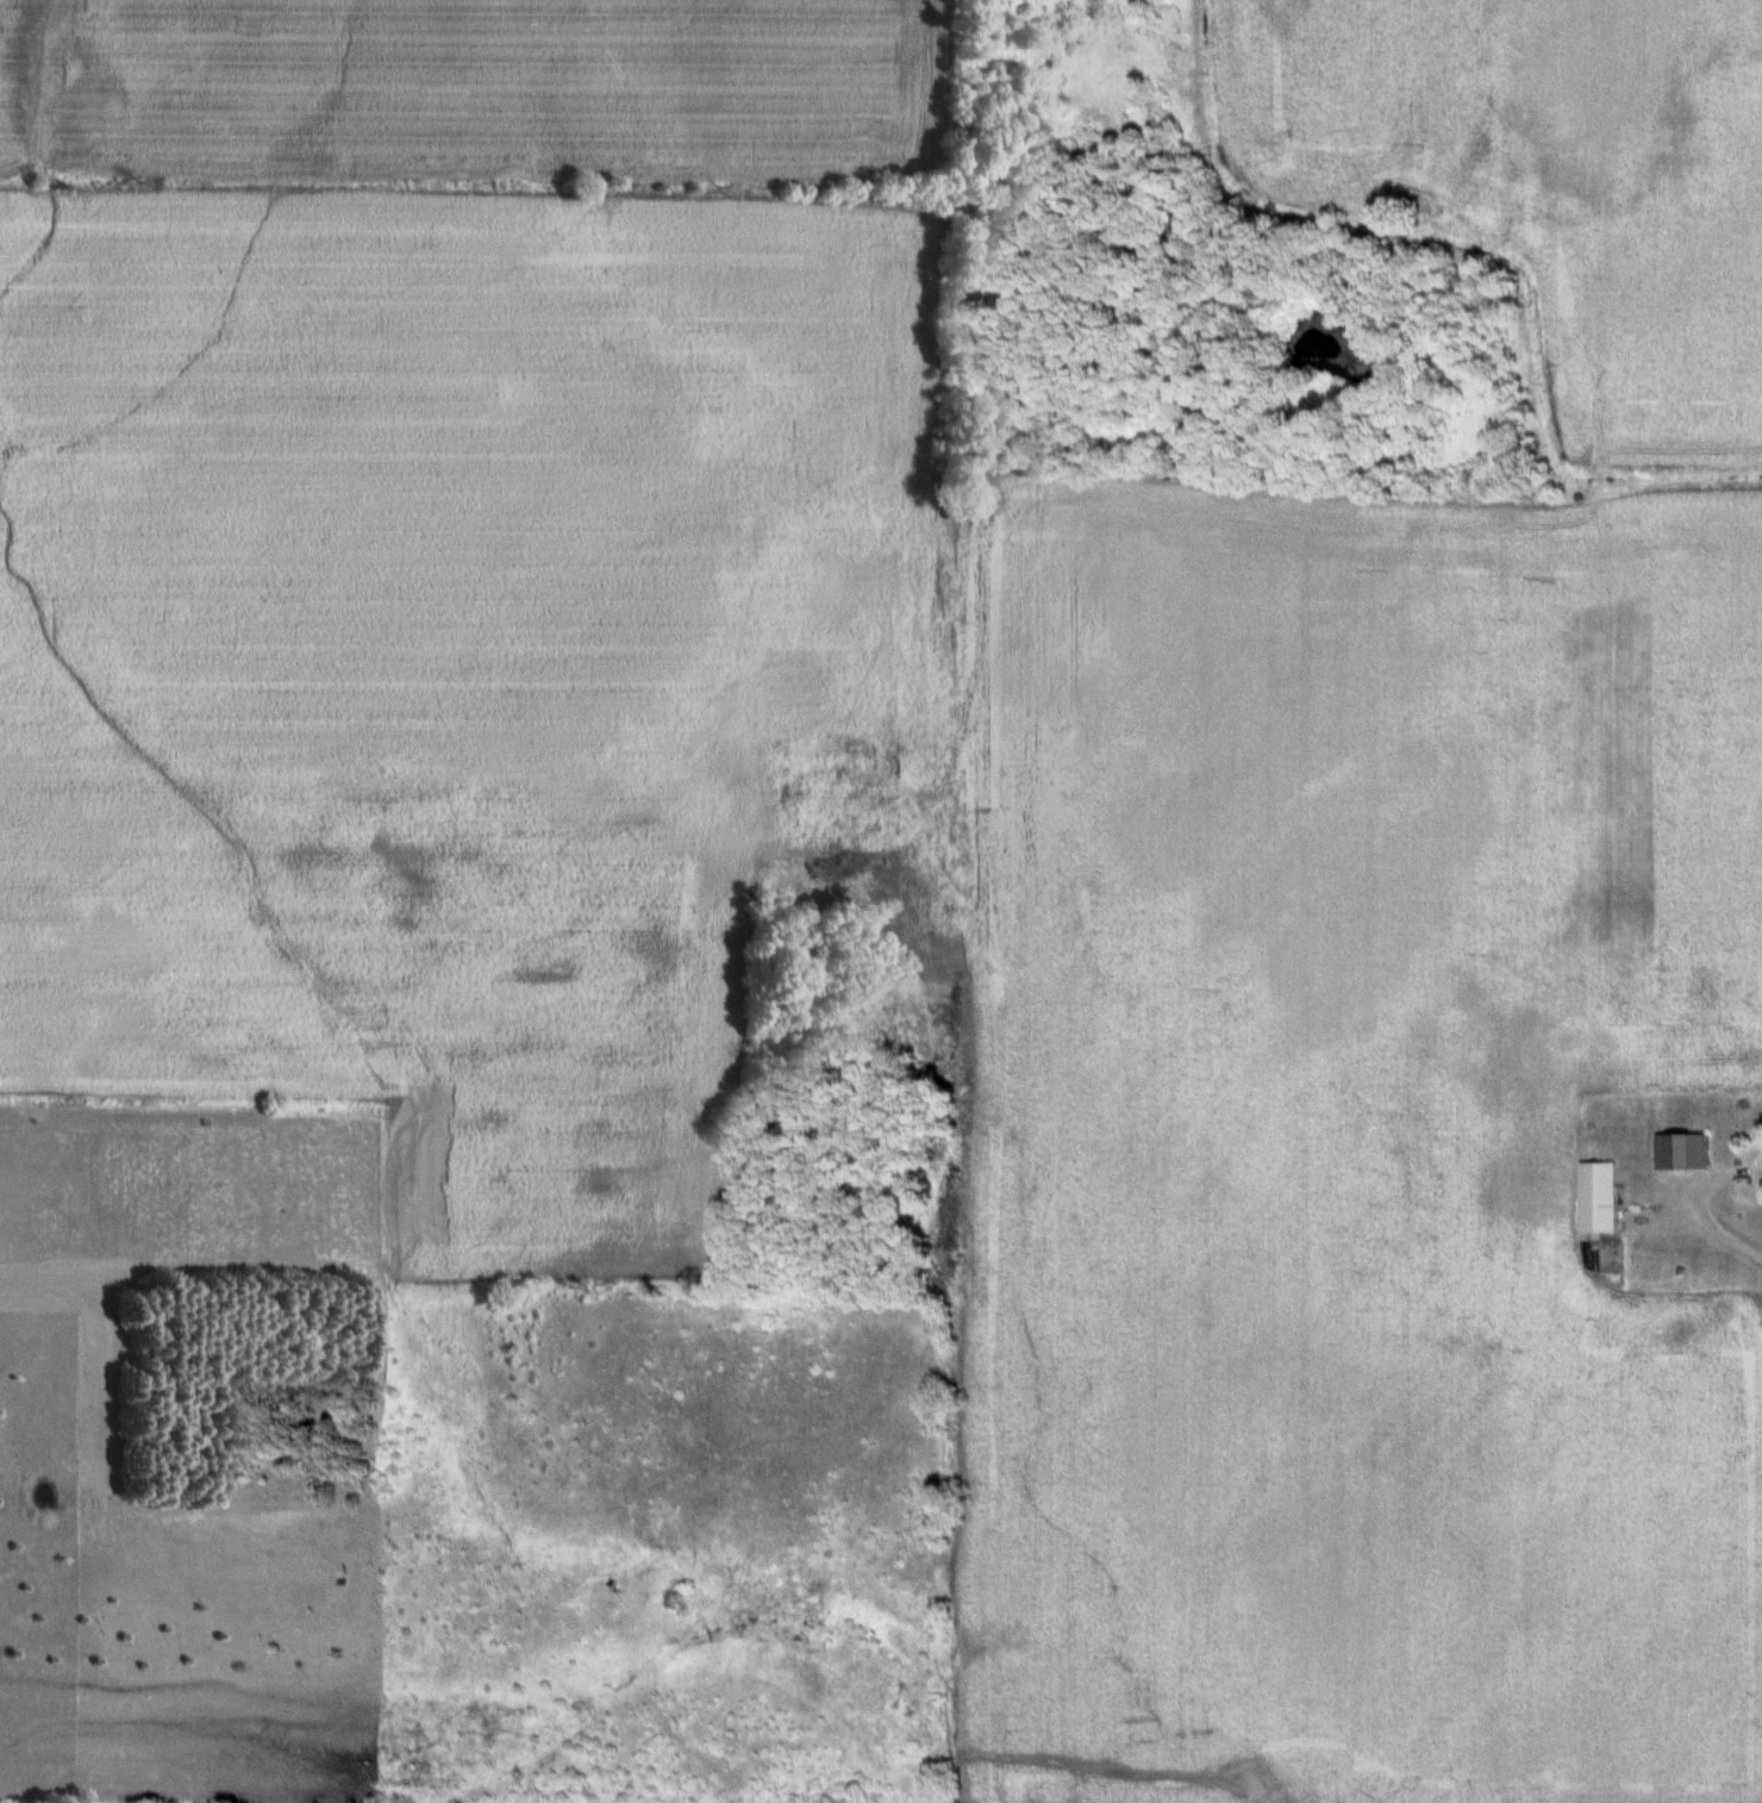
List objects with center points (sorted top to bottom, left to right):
building: (1686, 1150)
building: (1601, 1198)
road: (1695, 1209)

